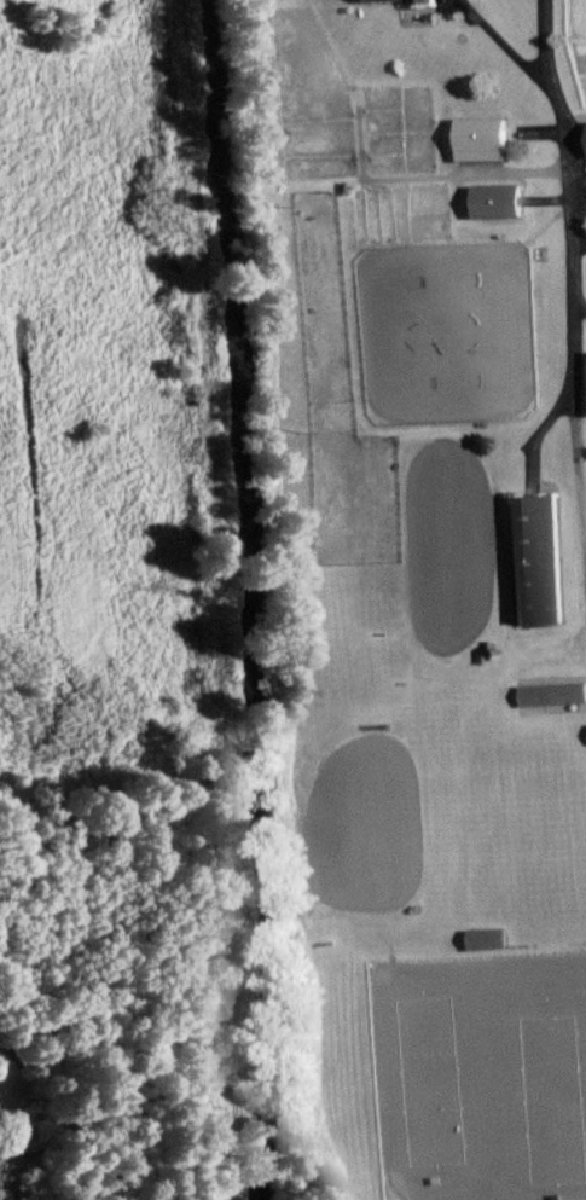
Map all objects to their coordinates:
building: (377, 0)
building: (424, 0)
road: (504, 45)
building: (481, 138)
road: (568, 192)
building: (497, 199)
road: (579, 465)
road: (494, 550)
building: (533, 560)
building: (552, 694)
building: (488, 938)

